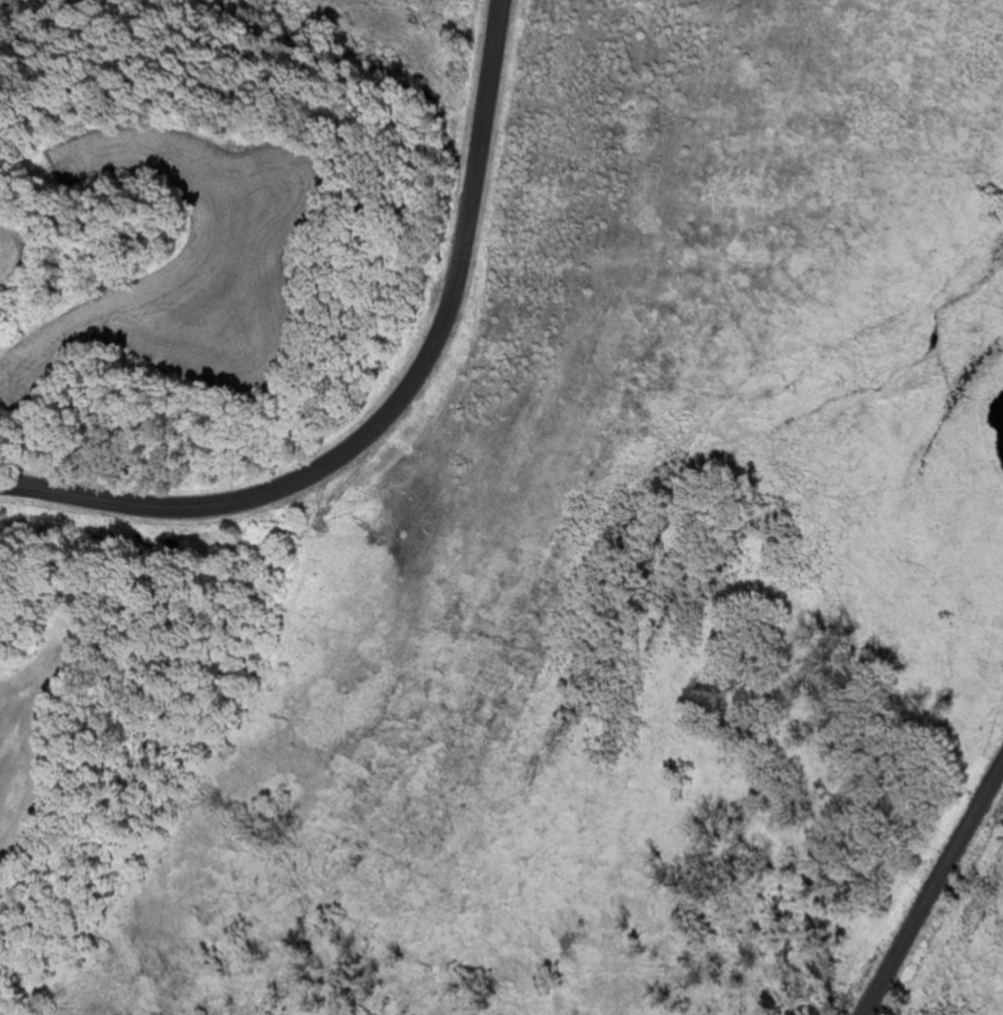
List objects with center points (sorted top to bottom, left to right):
road: (391, 404)
railway: (928, 877)

